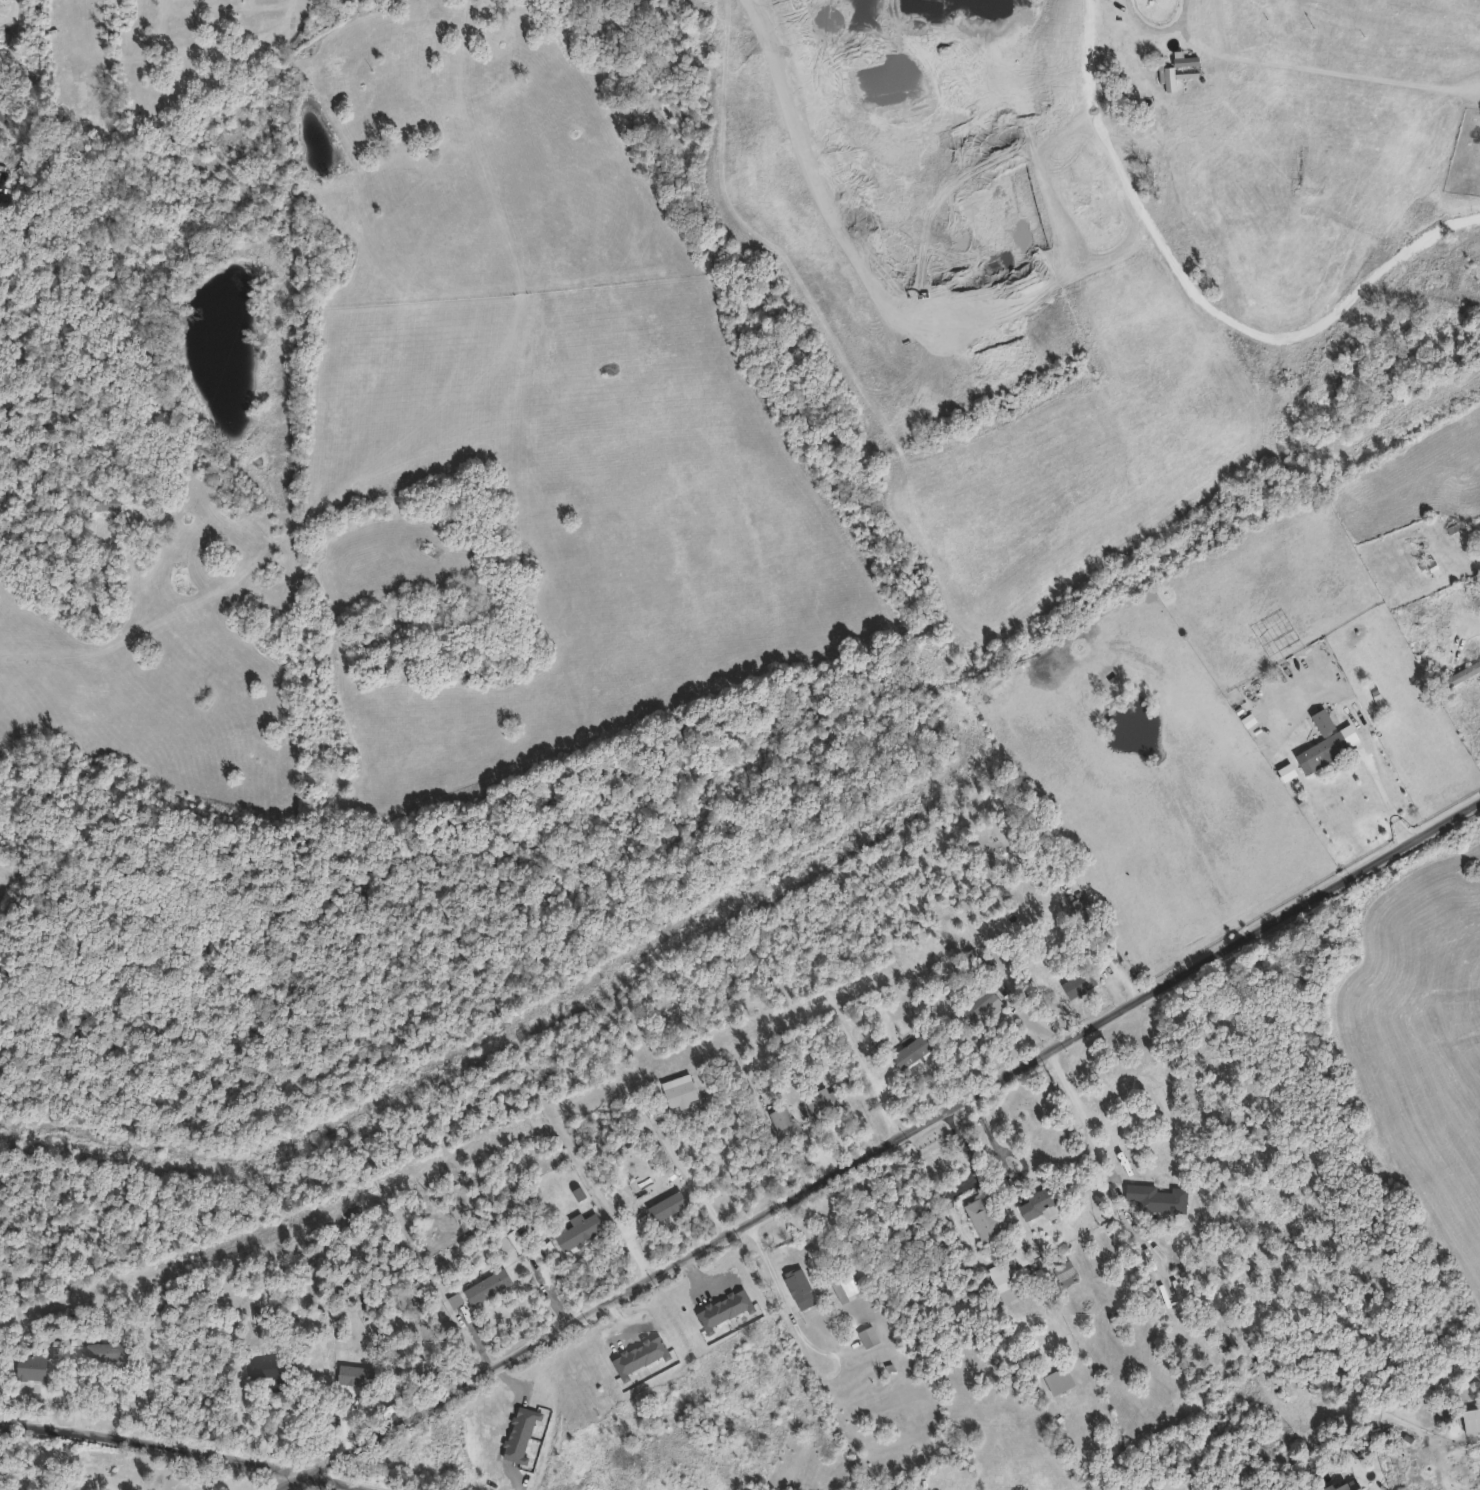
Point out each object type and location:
road: (1161, 29)
road: (14, 33)
building: (453, 122)
road: (1200, 300)
building: (105, 501)
building: (1431, 564)
road: (1466, 635)
building: (1463, 672)
building: (1326, 740)
road: (1392, 799)
building: (1080, 983)
building: (986, 999)
building: (912, 1050)
road: (870, 1077)
building: (679, 1090)
building: (825, 1103)
building: (780, 1117)
road: (1087, 1118)
road: (883, 1148)
road: (694, 1178)
building: (1164, 1198)
building: (1043, 1200)
building: (657, 1204)
building: (988, 1216)
road: (542, 1229)
building: (579, 1229)
building: (1005, 1282)
building: (487, 1285)
building: (800, 1287)
building: (845, 1287)
road: (800, 1329)
building: (868, 1335)
building: (110, 1351)
building: (32, 1367)
building: (270, 1368)
building: (355, 1375)
building: (1059, 1379)
building: (1471, 1419)
road: (185, 1450)
building: (1346, 1485)

